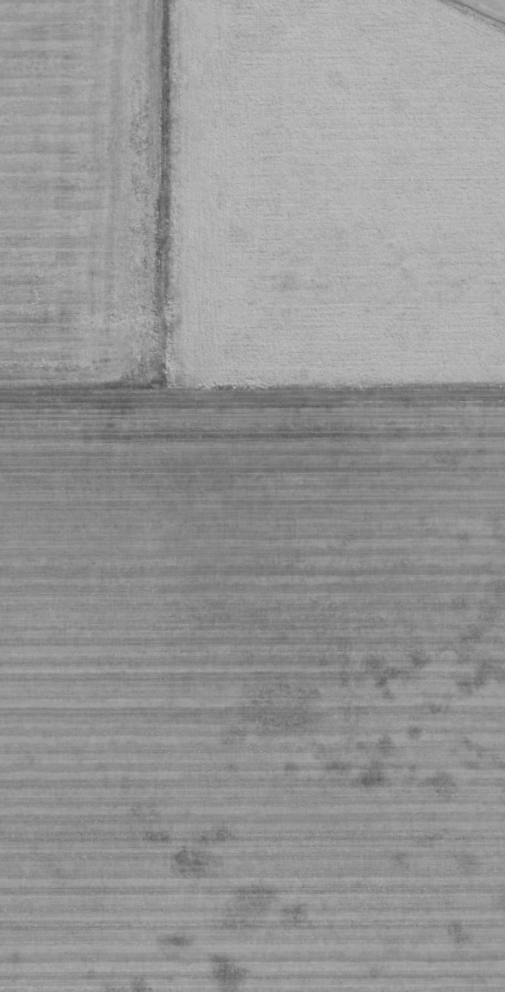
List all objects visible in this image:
railway: (117, 126)
road: (169, 324)

